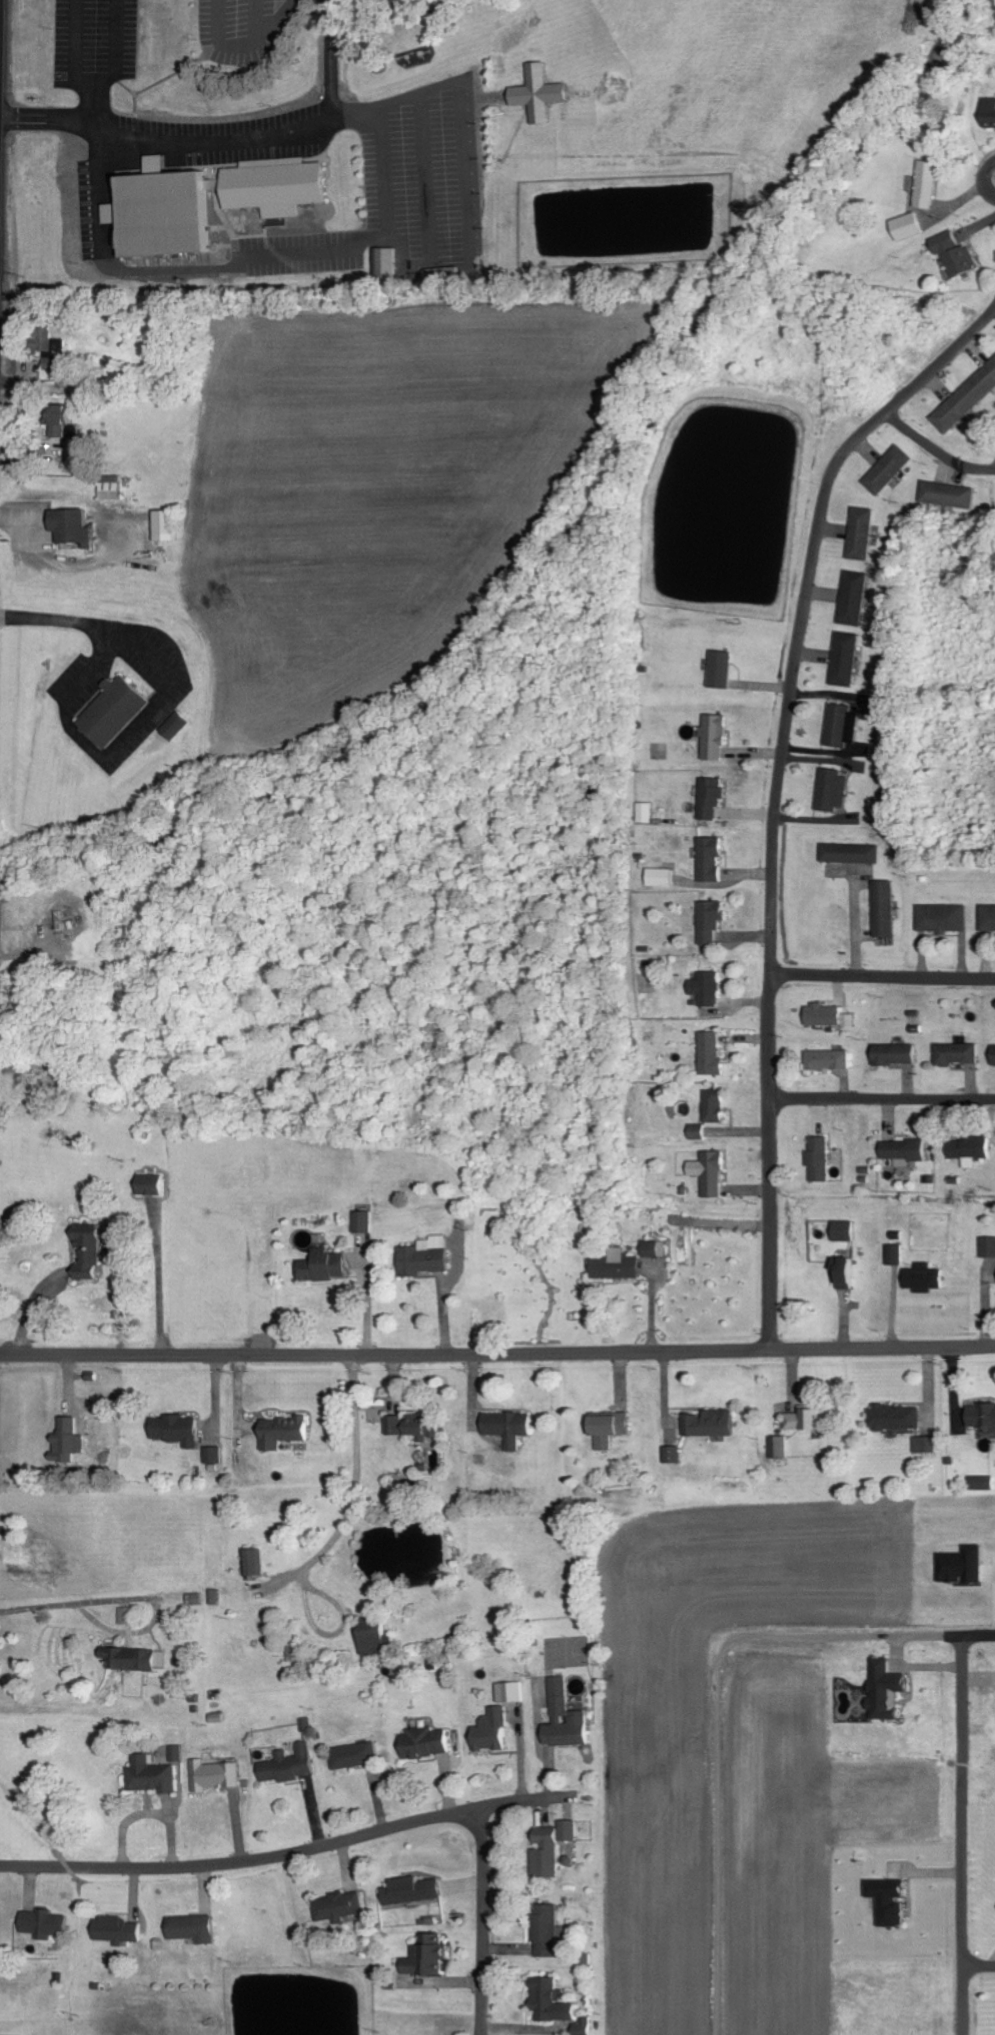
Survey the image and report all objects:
building: (543, 93)
building: (988, 112)
road: (992, 163)
building: (160, 165)
road: (986, 181)
building: (924, 185)
building: (283, 186)
building: (171, 214)
building: (905, 226)
building: (952, 253)
building: (389, 264)
building: (59, 360)
building: (965, 398)
building: (71, 433)
road: (934, 450)
building: (886, 469)
building: (946, 494)
building: (167, 526)
building: (77, 528)
building: (859, 534)
building: (851, 598)
road: (63, 621)
building: (844, 659)
building: (717, 669)
building: (115, 710)
building: (836, 725)
building: (180, 726)
building: (712, 738)
road: (112, 756)
building: (828, 791)
road: (774, 792)
building: (709, 798)
building: (645, 812)
building: (848, 853)
building: (707, 860)
building: (660, 877)
building: (881, 909)
building: (940, 918)
building: (987, 918)
building: (708, 920)
road: (881, 975)
building: (704, 989)
building: (821, 1015)
building: (709, 1052)
building: (954, 1053)
building: (891, 1054)
building: (992, 1055)
building: (826, 1059)
road: (881, 1098)
building: (712, 1105)
building: (696, 1131)
building: (968, 1150)
building: (901, 1151)
building: (816, 1159)
building: (706, 1172)
building: (152, 1185)
building: (363, 1223)
building: (840, 1230)
building: (987, 1247)
building: (653, 1248)
building: (91, 1252)
building: (893, 1255)
building: (614, 1265)
building: (325, 1266)
building: (843, 1272)
building: (921, 1278)
road: (497, 1355)
building: (981, 1416)
building: (894, 1417)
building: (803, 1419)
building: (712, 1423)
building: (607, 1424)
building: (417, 1426)
building: (512, 1427)
building: (178, 1430)
building: (286, 1432)
building: (69, 1441)
building: (925, 1444)
building: (778, 1447)
building: (672, 1454)
building: (213, 1456)
building: (981, 1482)
building: (258, 1562)
building: (961, 1565)
building: (129, 1615)
road: (969, 1633)
building: (380, 1639)
building: (140, 1658)
building: (882, 1690)
building: (513, 1692)
building: (567, 1719)
road: (714, 1730)
building: (492, 1732)
building: (428, 1743)
building: (178, 1753)
building: (358, 1756)
building: (291, 1765)
building: (218, 1775)
building: (154, 1776)
road: (962, 1834)
road: (342, 1842)
building: (554, 1847)
building: (436, 1887)
building: (886, 1901)
building: (341, 1908)
building: (48, 1925)
building: (195, 1929)
building: (119, 1931)
building: (549, 1931)
building: (429, 1957)
road: (978, 1965)
building: (555, 2001)
building: (586, 2027)

